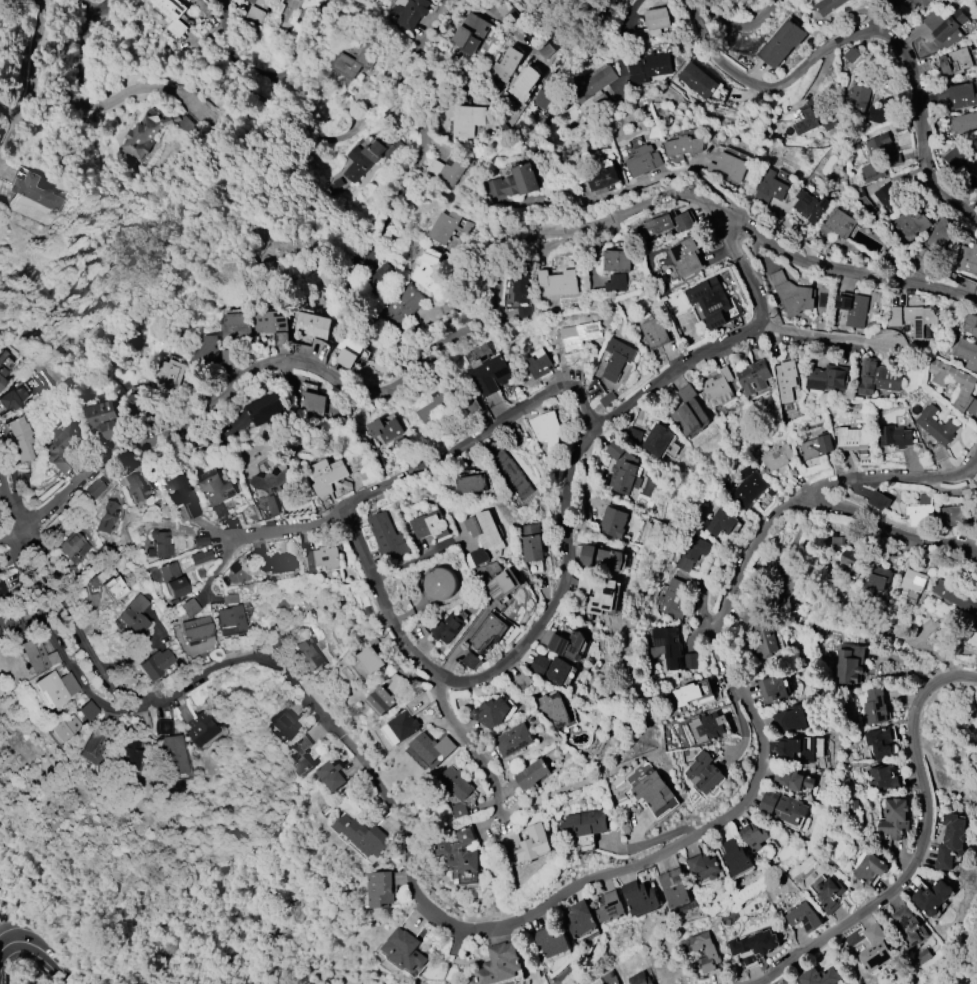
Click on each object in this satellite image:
building: (296, 0)
building: (914, 3)
building: (827, 6)
road: (91, 7)
road: (100, 7)
building: (255, 11)
building: (412, 12)
building: (173, 15)
building: (513, 16)
road: (866, 17)
building: (653, 23)
road: (740, 27)
building: (945, 27)
road: (865, 32)
building: (471, 33)
road: (590, 35)
building: (781, 44)
building: (543, 49)
building: (851, 53)
building: (357, 61)
building: (955, 61)
building: (506, 64)
building: (0, 65)
building: (650, 68)
road: (253, 71)
building: (697, 80)
building: (591, 83)
building: (523, 84)
road: (31, 85)
building: (546, 91)
building: (603, 96)
building: (962, 96)
building: (857, 99)
road: (86, 101)
building: (882, 111)
building: (816, 116)
building: (468, 119)
building: (964, 122)
road: (423, 125)
building: (901, 125)
building: (144, 137)
building: (684, 145)
building: (879, 145)
building: (974, 145)
building: (954, 156)
building: (370, 157)
building: (894, 158)
building: (643, 159)
building: (453, 165)
building: (727, 166)
building: (435, 167)
building: (976, 169)
building: (872, 170)
building: (602, 178)
building: (514, 182)
building: (770, 187)
building: (31, 188)
building: (857, 192)
building: (976, 197)
building: (888, 198)
building: (937, 205)
building: (810, 206)
road: (102, 210)
road: (202, 212)
building: (682, 221)
building: (837, 224)
building: (656, 225)
building: (910, 225)
building: (448, 227)
building: (939, 235)
building: (685, 256)
building: (967, 258)
building: (618, 261)
road: (740, 266)
building: (427, 270)
building: (777, 277)
building: (382, 278)
building: (557, 283)
building: (615, 283)
building: (521, 285)
building: (794, 297)
building: (713, 302)
road: (493, 303)
building: (400, 307)
building: (853, 309)
building: (523, 312)
building: (894, 317)
building: (918, 320)
building: (970, 323)
building: (272, 325)
building: (311, 325)
building: (235, 328)
building: (655, 333)
building: (579, 335)
road: (713, 348)
building: (204, 353)
building: (967, 353)
building: (3, 355)
building: (345, 358)
building: (617, 358)
building: (534, 366)
building: (167, 372)
building: (490, 374)
building: (2, 375)
building: (753, 376)
building: (877, 376)
building: (826, 378)
building: (785, 380)
building: (966, 386)
building: (717, 387)
building: (12, 398)
building: (136, 399)
building: (607, 399)
building: (312, 403)
building: (266, 409)
building: (436, 410)
building: (688, 412)
building: (102, 419)
building: (385, 429)
building: (546, 430)
building: (936, 431)
road: (475, 436)
building: (632, 436)
building: (894, 436)
building: (20, 438)
building: (657, 439)
building: (852, 439)
building: (816, 446)
building: (62, 448)
building: (776, 457)
building: (621, 470)
building: (327, 475)
building: (509, 475)
building: (272, 481)
road: (891, 481)
building: (471, 483)
building: (976, 483)
building: (215, 487)
building: (747, 487)
building: (95, 488)
building: (133, 488)
building: (182, 496)
building: (879, 500)
building: (274, 505)
road: (3, 506)
road: (6, 507)
building: (217, 511)
building: (921, 511)
building: (954, 515)
building: (107, 516)
building: (613, 522)
building: (718, 522)
building: (430, 525)
road: (287, 528)
building: (483, 528)
road: (10, 530)
building: (386, 537)
building: (199, 540)
building: (836, 541)
building: (159, 544)
building: (73, 546)
building: (532, 548)
building: (691, 552)
building: (587, 555)
building: (199, 556)
building: (478, 556)
building: (323, 558)
building: (849, 559)
building: (608, 560)
building: (276, 563)
building: (879, 576)
building: (172, 579)
building: (498, 580)
building: (913, 580)
building: (441, 583)
building: (114, 588)
building: (780, 592)
building: (598, 593)
building: (4, 595)
building: (954, 595)
building: (229, 598)
building: (671, 599)
building: (188, 606)
building: (133, 615)
building: (976, 616)
building: (17, 617)
building: (230, 617)
building: (447, 627)
building: (196, 629)
building: (487, 632)
building: (764, 637)
road: (467, 640)
road: (138, 642)
building: (567, 645)
building: (666, 646)
building: (308, 653)
building: (38, 655)
building: (372, 659)
building: (471, 660)
building: (689, 661)
building: (154, 663)
building: (848, 663)
road: (493, 664)
building: (539, 664)
building: (556, 671)
building: (522, 681)
building: (398, 684)
building: (56, 687)
building: (772, 688)
building: (693, 692)
building: (383, 699)
building: (874, 706)
building: (553, 709)
building: (87, 710)
building: (493, 712)
building: (976, 715)
building: (790, 719)
building: (283, 723)
building: (404, 725)
building: (64, 726)
building: (162, 726)
building: (200, 727)
building: (707, 727)
road: (454, 734)
building: (514, 740)
building: (879, 742)
building: (95, 744)
building: (445, 746)
building: (425, 747)
building: (795, 748)
building: (171, 753)
building: (301, 754)
building: (129, 755)
road: (916, 757)
building: (704, 773)
building: (532, 774)
building: (332, 775)
building: (882, 778)
building: (792, 779)
building: (454, 783)
building: (653, 791)
building: (783, 807)
building: (458, 810)
building: (894, 819)
building: (584, 822)
building: (363, 835)
building: (753, 835)
building: (951, 841)
building: (526, 844)
building: (458, 852)
building: (736, 857)
building: (703, 866)
building: (870, 868)
building: (674, 888)
building: (381, 889)
building: (827, 892)
building: (639, 897)
building: (932, 897)
building: (458, 903)
building: (609, 906)
road: (530, 914)
building: (804, 917)
building: (579, 919)
building: (909, 926)
road: (828, 933)
building: (551, 942)
building: (753, 946)
building: (875, 949)
road: (39, 950)
building: (406, 950)
building: (705, 951)
building: (923, 956)
building: (498, 965)
building: (819, 976)
building: (638, 979)
building: (601, 983)

